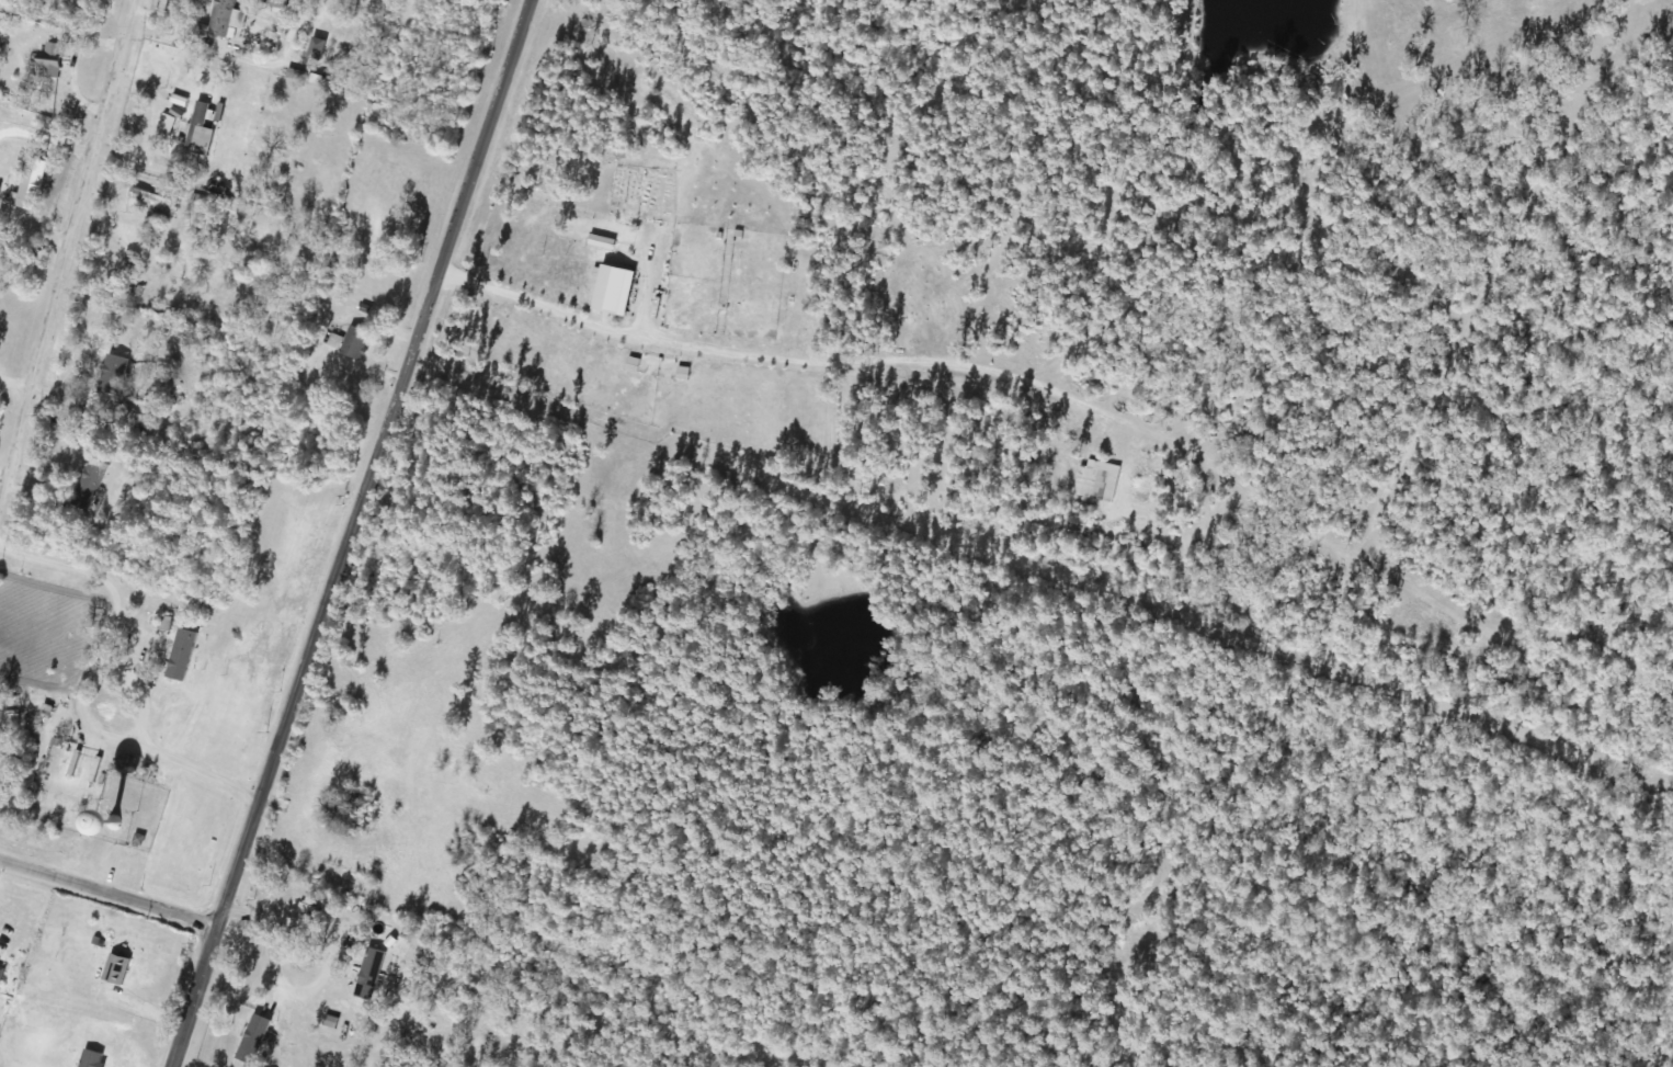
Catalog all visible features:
building: (224, 18)
building: (48, 59)
building: (196, 127)
building: (29, 183)
building: (151, 201)
road: (72, 262)
building: (149, 276)
building: (352, 342)
building: (113, 376)
building: (88, 484)
road: (351, 533)
building: (180, 655)
building: (56, 747)
building: (353, 798)
building: (126, 799)
road: (111, 898)
building: (299, 920)
road: (268, 942)
building: (114, 969)
building: (1, 972)
building: (89, 1058)

